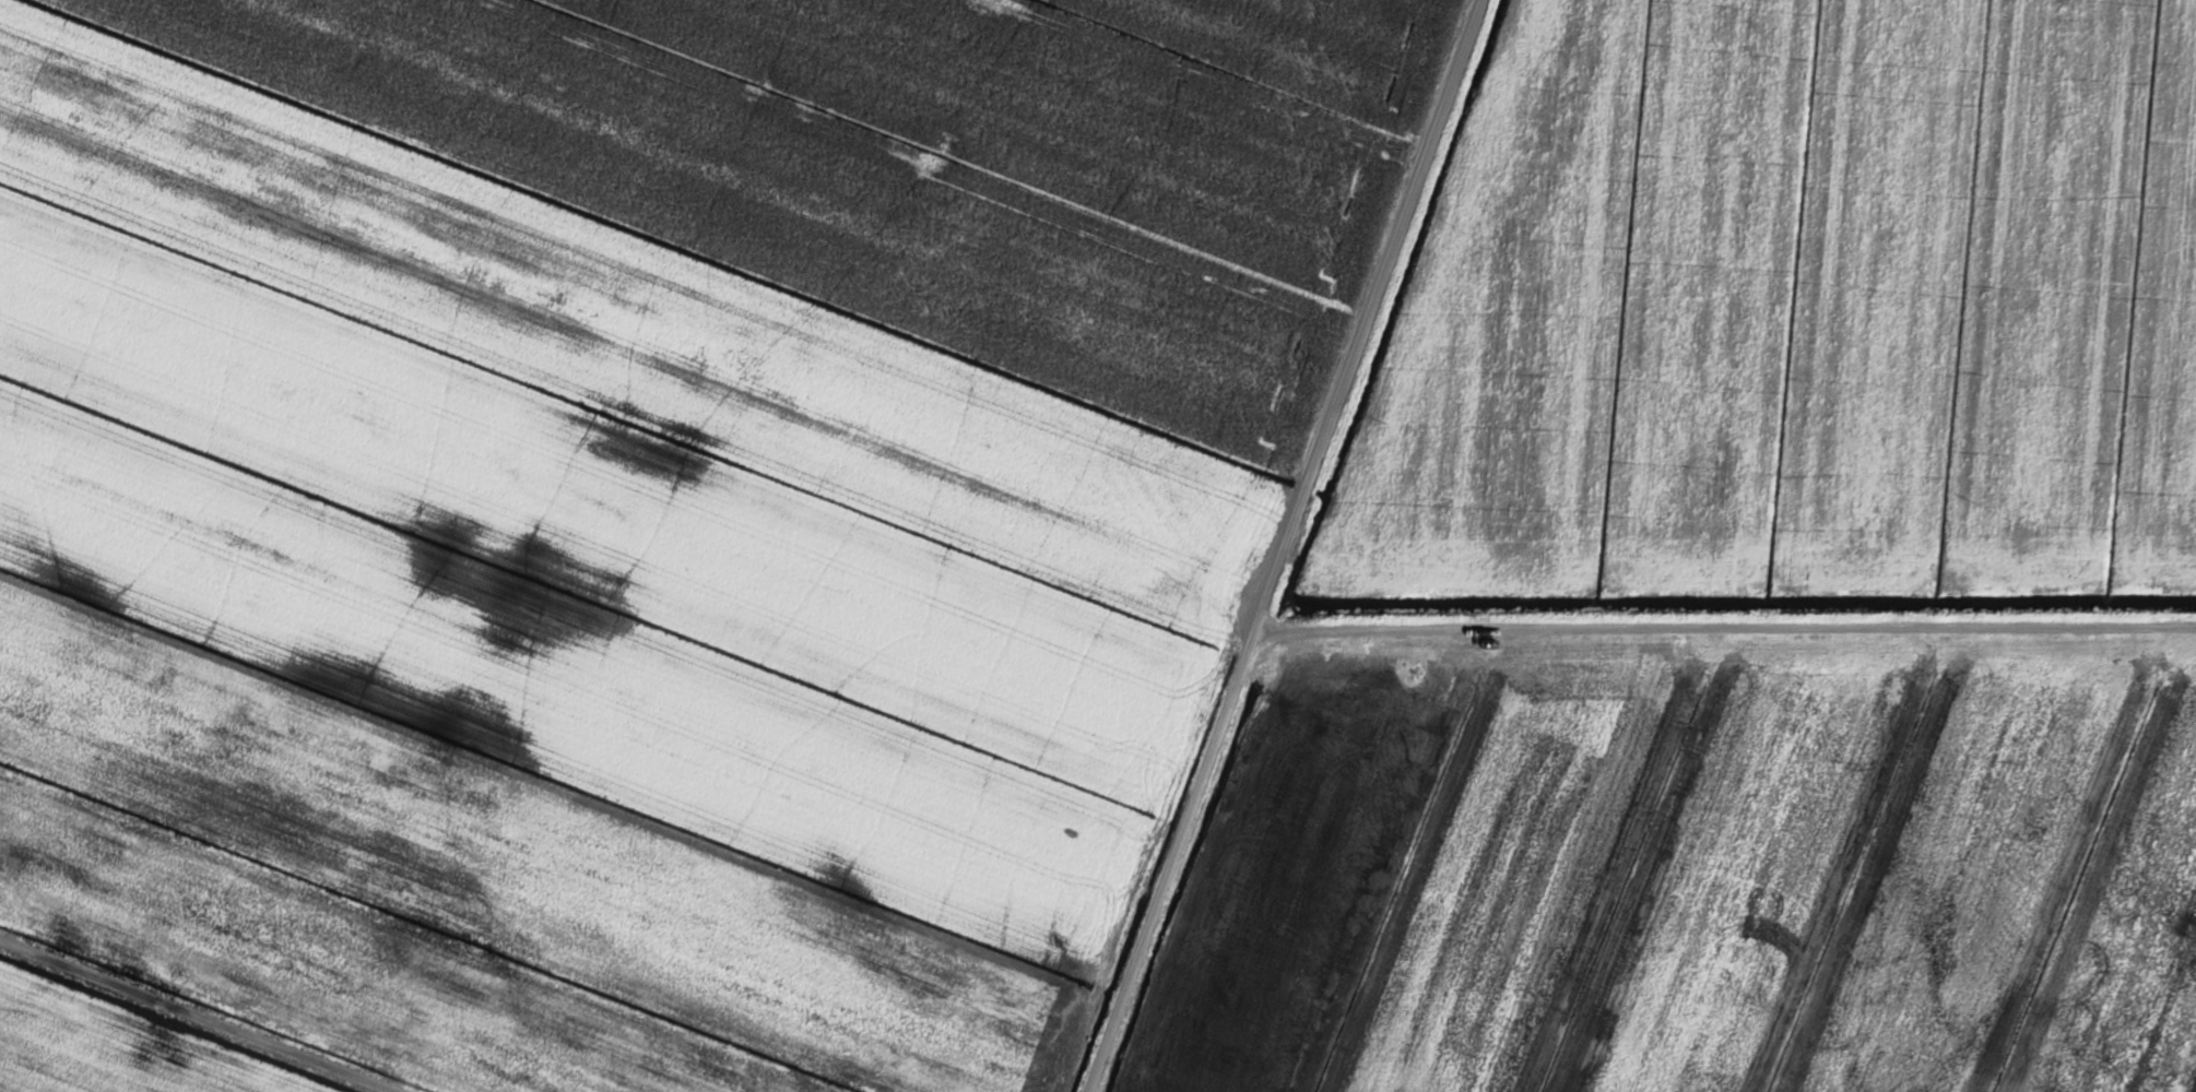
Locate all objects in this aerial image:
road: (1298, 550)
road: (1731, 644)

